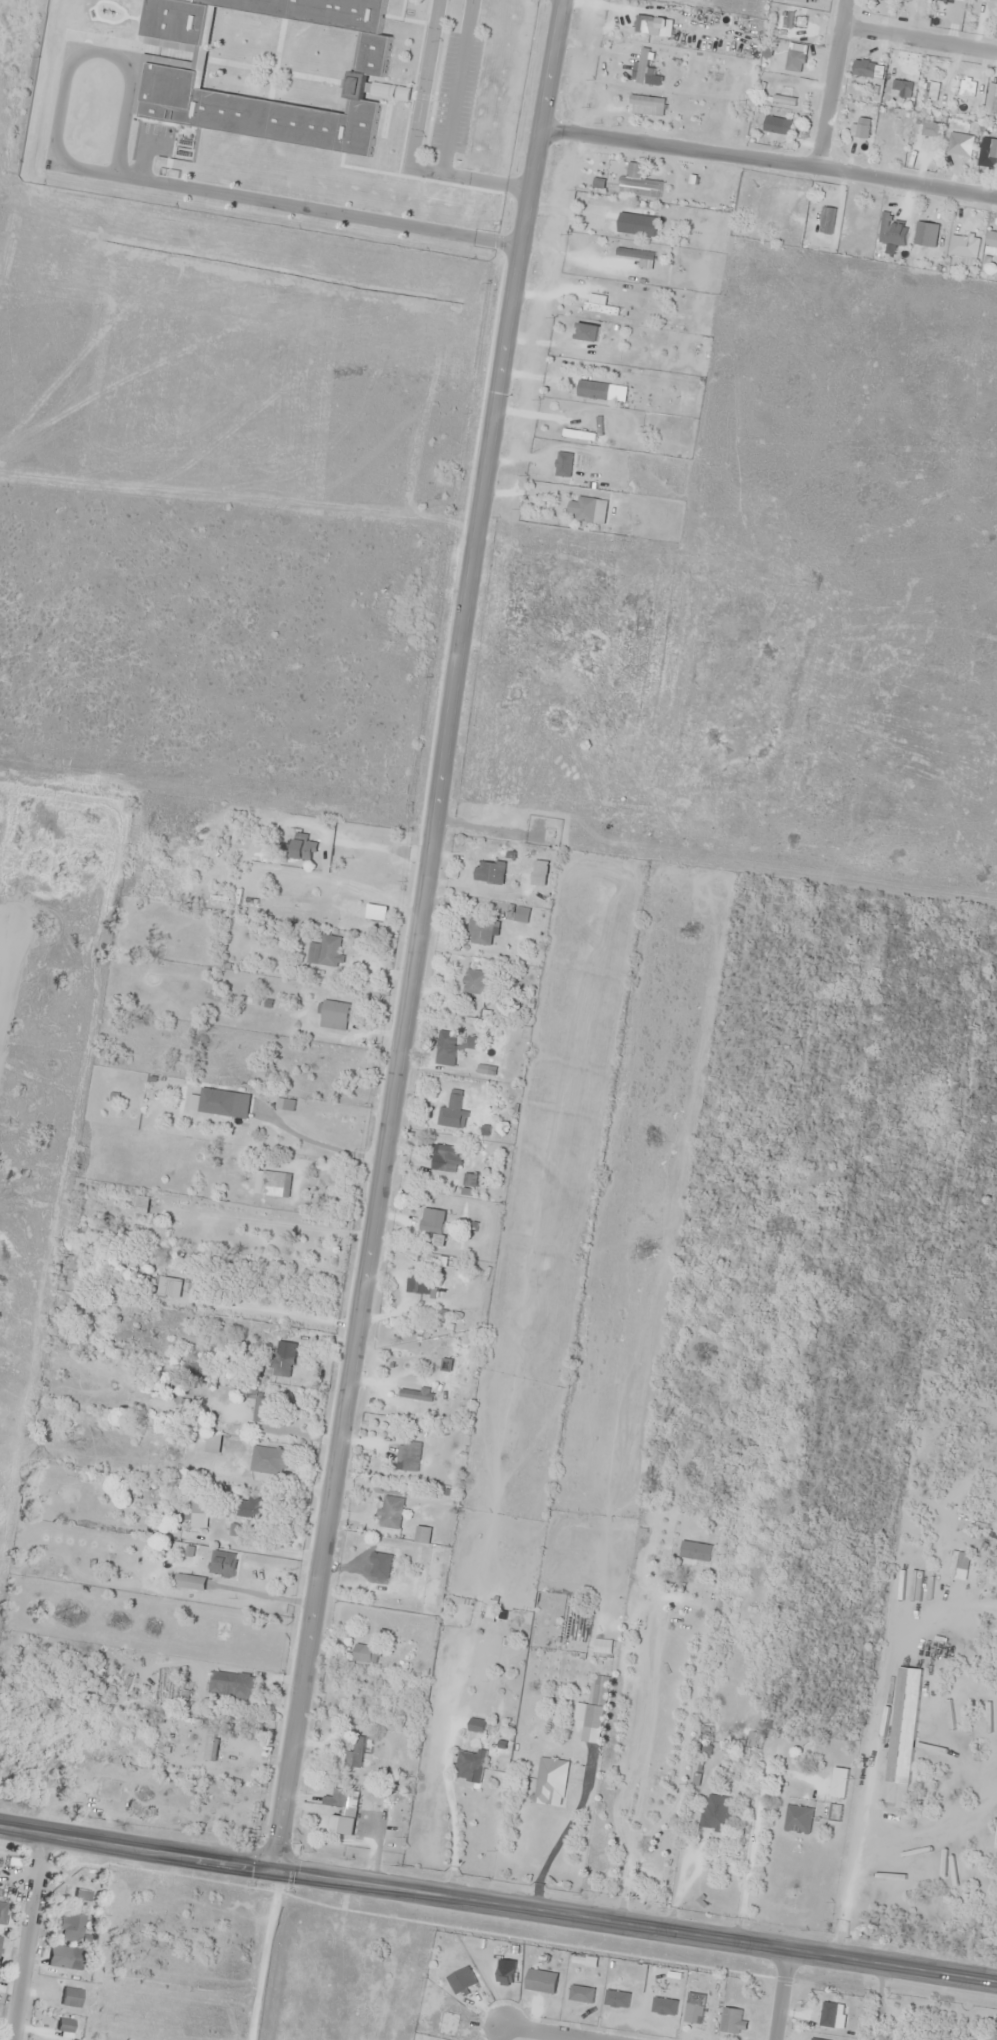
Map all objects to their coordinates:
building: (653, 24)
road: (919, 36)
building: (642, 68)
building: (269, 69)
road: (831, 82)
building: (642, 101)
road: (771, 158)
building: (620, 184)
building: (613, 221)
building: (589, 332)
building: (594, 390)
building: (303, 847)
building: (490, 871)
building: (518, 913)
building: (483, 931)
road: (419, 935)
building: (327, 951)
building: (476, 982)
building: (335, 1015)
building: (472, 1043)
building: (448, 1044)
building: (484, 1064)
building: (456, 1097)
river: (937, 1109)
building: (448, 1158)
building: (273, 1183)
building: (142, 1204)
building: (436, 1229)
building: (422, 1286)
building: (169, 1287)
building: (283, 1364)
building: (417, 1395)
building: (260, 1405)
building: (412, 1456)
building: (270, 1460)
building: (256, 1509)
building: (393, 1512)
building: (696, 1551)
building: (224, 1563)
building: (988, 1593)
building: (358, 1647)
building: (233, 1684)
building: (597, 1706)
building: (477, 1726)
building: (903, 1738)
building: (359, 1751)
building: (471, 1767)
building: (552, 1782)
building: (840, 1783)
building: (344, 1797)
building: (717, 1813)
building: (799, 1819)
building: (347, 1826)
building: (0, 1879)
building: (82, 1895)
road: (498, 1904)
building: (2, 1911)
building: (71, 1930)
road: (29, 1936)
building: (68, 1960)
building: (465, 1976)
building: (542, 1981)
road: (780, 1994)
building: (582, 1995)
building: (70, 1996)
building: (733, 2022)
road: (502, 2031)
road: (555, 2031)
building: (53, 2035)

